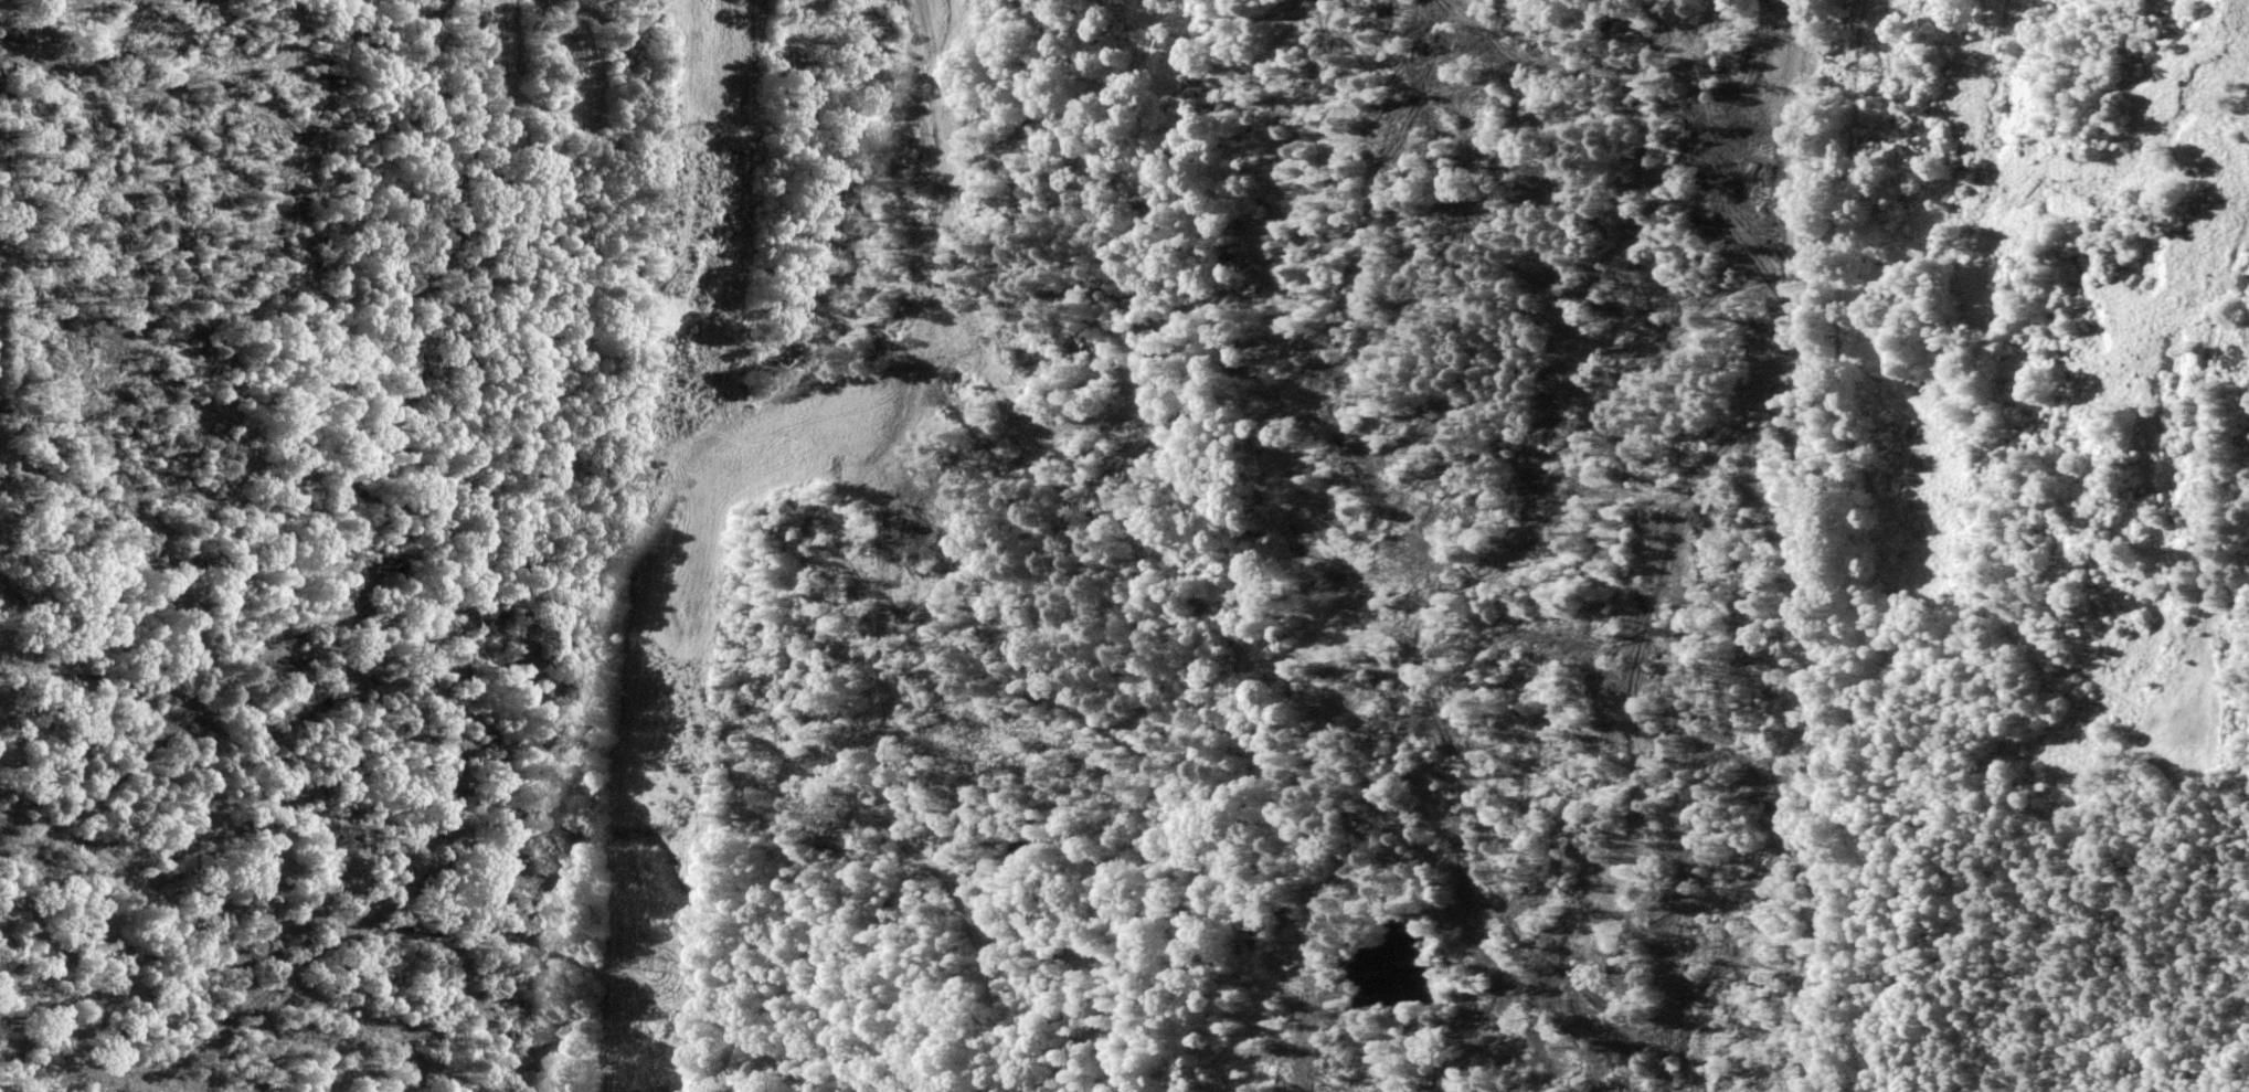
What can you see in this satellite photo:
power tower: (708, 127)
power tower: (653, 964)

